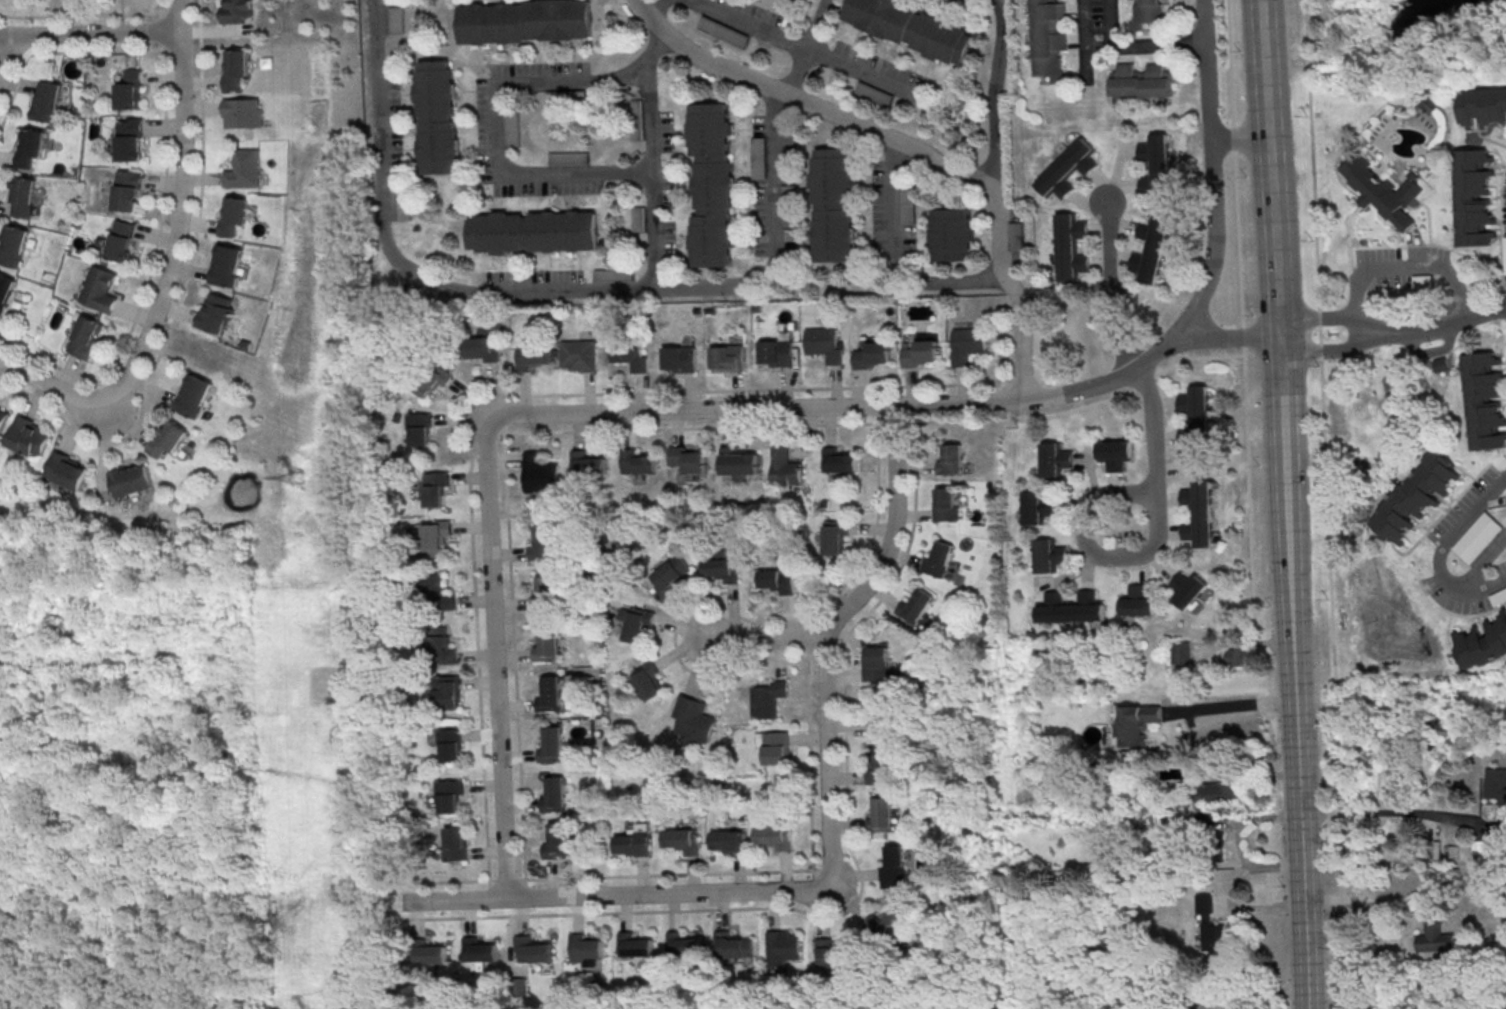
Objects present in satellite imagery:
building: (795, 0)
road: (652, 4)
building: (237, 11)
building: (1144, 13)
road: (80, 17)
building: (394, 19)
building: (522, 20)
road: (745, 24)
building: (909, 27)
road: (90, 34)
building: (1046, 39)
road: (809, 46)
road: (1134, 48)
road: (6, 59)
building: (235, 68)
road: (861, 71)
building: (1140, 81)
building: (130, 90)
road: (804, 100)
building: (48, 101)
building: (1483, 106)
building: (243, 112)
road: (497, 112)
building: (436, 116)
building: (511, 128)
road: (990, 138)
building: (130, 139)
road: (1240, 139)
building: (30, 147)
building: (567, 157)
building: (1155, 166)
road: (1269, 168)
building: (244, 169)
building: (1066, 169)
road: (1213, 174)
road: (654, 178)
building: (712, 184)
road: (771, 186)
building: (1383, 190)
building: (128, 191)
building: (24, 197)
building: (1474, 198)
building: (832, 205)
building: (906, 205)
building: (403, 206)
road: (199, 216)
building: (233, 216)
building: (639, 218)
building: (538, 231)
building: (950, 235)
building: (1013, 236)
building: (122, 240)
building: (13, 245)
building: (1068, 246)
building: (1150, 248)
road: (155, 251)
building: (226, 265)
road: (893, 265)
road: (171, 270)
road: (1401, 270)
building: (1423, 281)
building: (99, 289)
road: (449, 289)
road: (1105, 290)
building: (5, 291)
road: (1241, 307)
building: (216, 312)
road: (1319, 320)
road: (1434, 329)
building: (86, 336)
road: (1020, 338)
road: (1228, 338)
road: (1321, 338)
building: (823, 343)
building: (965, 344)
building: (482, 349)
building: (919, 351)
building: (630, 352)
building: (776, 353)
road: (1321, 353)
building: (871, 354)
building: (580, 355)
building: (532, 357)
building: (728, 357)
building: (681, 358)
building: (432, 380)
road: (749, 391)
building: (194, 395)
building: (1485, 401)
road: (830, 407)
building: (2, 417)
building: (1195, 419)
building: (421, 429)
road: (1153, 429)
road: (657, 430)
building: (26, 436)
building: (168, 438)
road: (1283, 439)
building: (1113, 454)
building: (949, 458)
building: (1053, 459)
building: (687, 460)
building: (839, 460)
building: (740, 462)
building: (639, 463)
building: (589, 464)
building: (786, 468)
building: (67, 470)
building: (541, 474)
power tower: (294, 475)
building: (131, 480)
building: (436, 488)
building: (1505, 491)
building: (1415, 497)
building: (946, 504)
building: (1037, 507)
building: (1199, 513)
road: (894, 528)
building: (836, 537)
building: (1477, 537)
building: (437, 538)
building: (543, 544)
road: (1442, 550)
road: (1150, 551)
building: (1049, 555)
building: (941, 560)
road: (1483, 562)
building: (722, 569)
building: (672, 575)
building: (777, 581)
building: (1188, 589)
building: (435, 593)
building: (545, 595)
building: (1499, 598)
building: (1139, 602)
building: (916, 606)
building: (1071, 608)
building: (639, 625)
road: (767, 641)
building: (548, 644)
building: (442, 646)
building: (1180, 652)
building: (1239, 657)
building: (876, 663)
road: (497, 671)
building: (650, 681)
building: (448, 691)
building: (550, 694)
building: (768, 699)
road: (1234, 704)
building: (880, 716)
building: (694, 718)
building: (1133, 723)
building: (552, 744)
building: (452, 745)
building: (776, 748)
road: (828, 753)
building: (881, 765)
road: (1297, 774)
building: (1496, 783)
building: (1220, 791)
building: (555, 794)
building: (451, 796)
building: (881, 814)
road: (1384, 814)
building: (776, 836)
building: (558, 840)
building: (683, 840)
building: (730, 840)
road: (1338, 841)
building: (635, 842)
building: (1212, 842)
building: (457, 843)
building: (894, 868)
road: (573, 879)
road: (446, 882)
road: (863, 882)
road: (618, 896)
road: (1401, 923)
building: (892, 925)
building: (1212, 925)
building: (1436, 933)
building: (684, 944)
building: (733, 944)
building: (637, 945)
building: (588, 946)
building: (784, 947)
building: (479, 948)
building: (535, 949)
building: (428, 951)
building: (831, 954)
road: (1252, 994)

